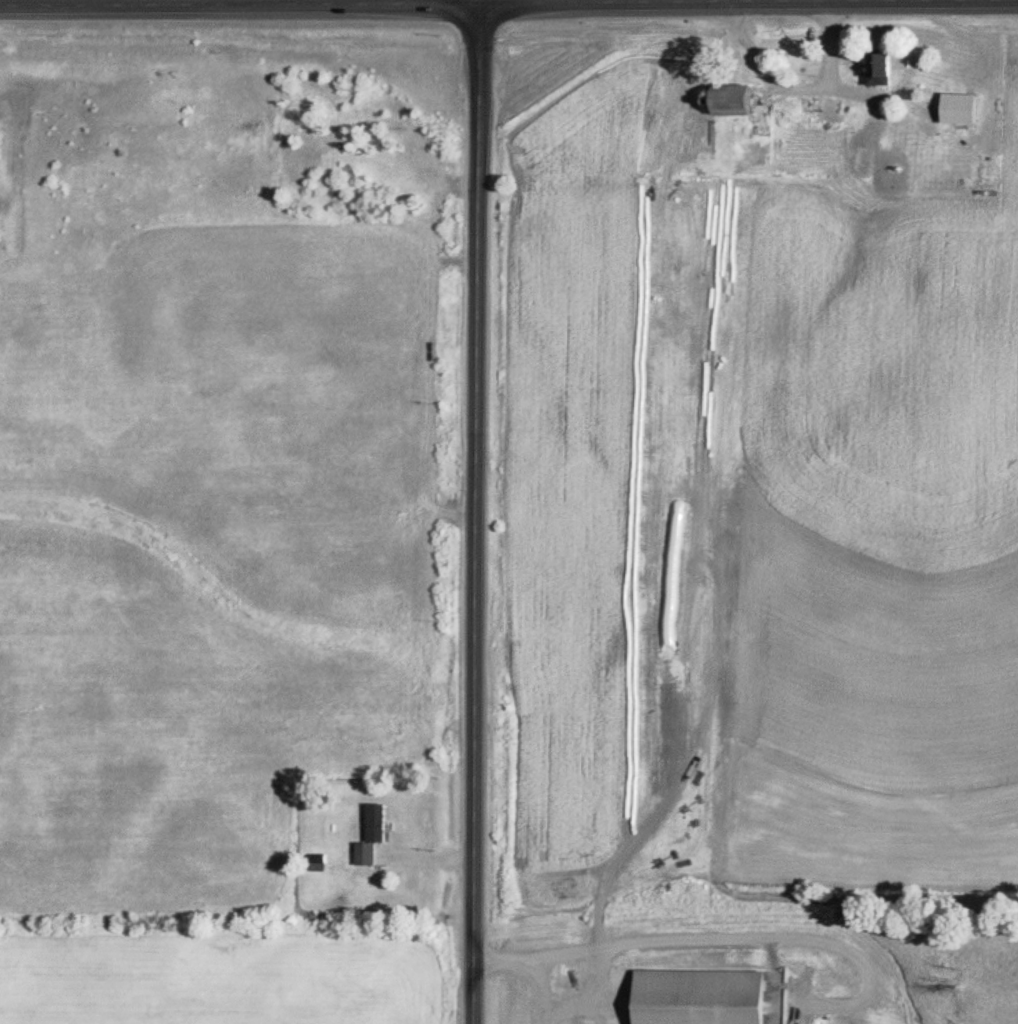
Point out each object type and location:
road: (392, 2)
building: (721, 99)
building: (953, 106)
road: (473, 511)
crop: (209, 548)
building: (374, 834)
crop: (217, 974)

